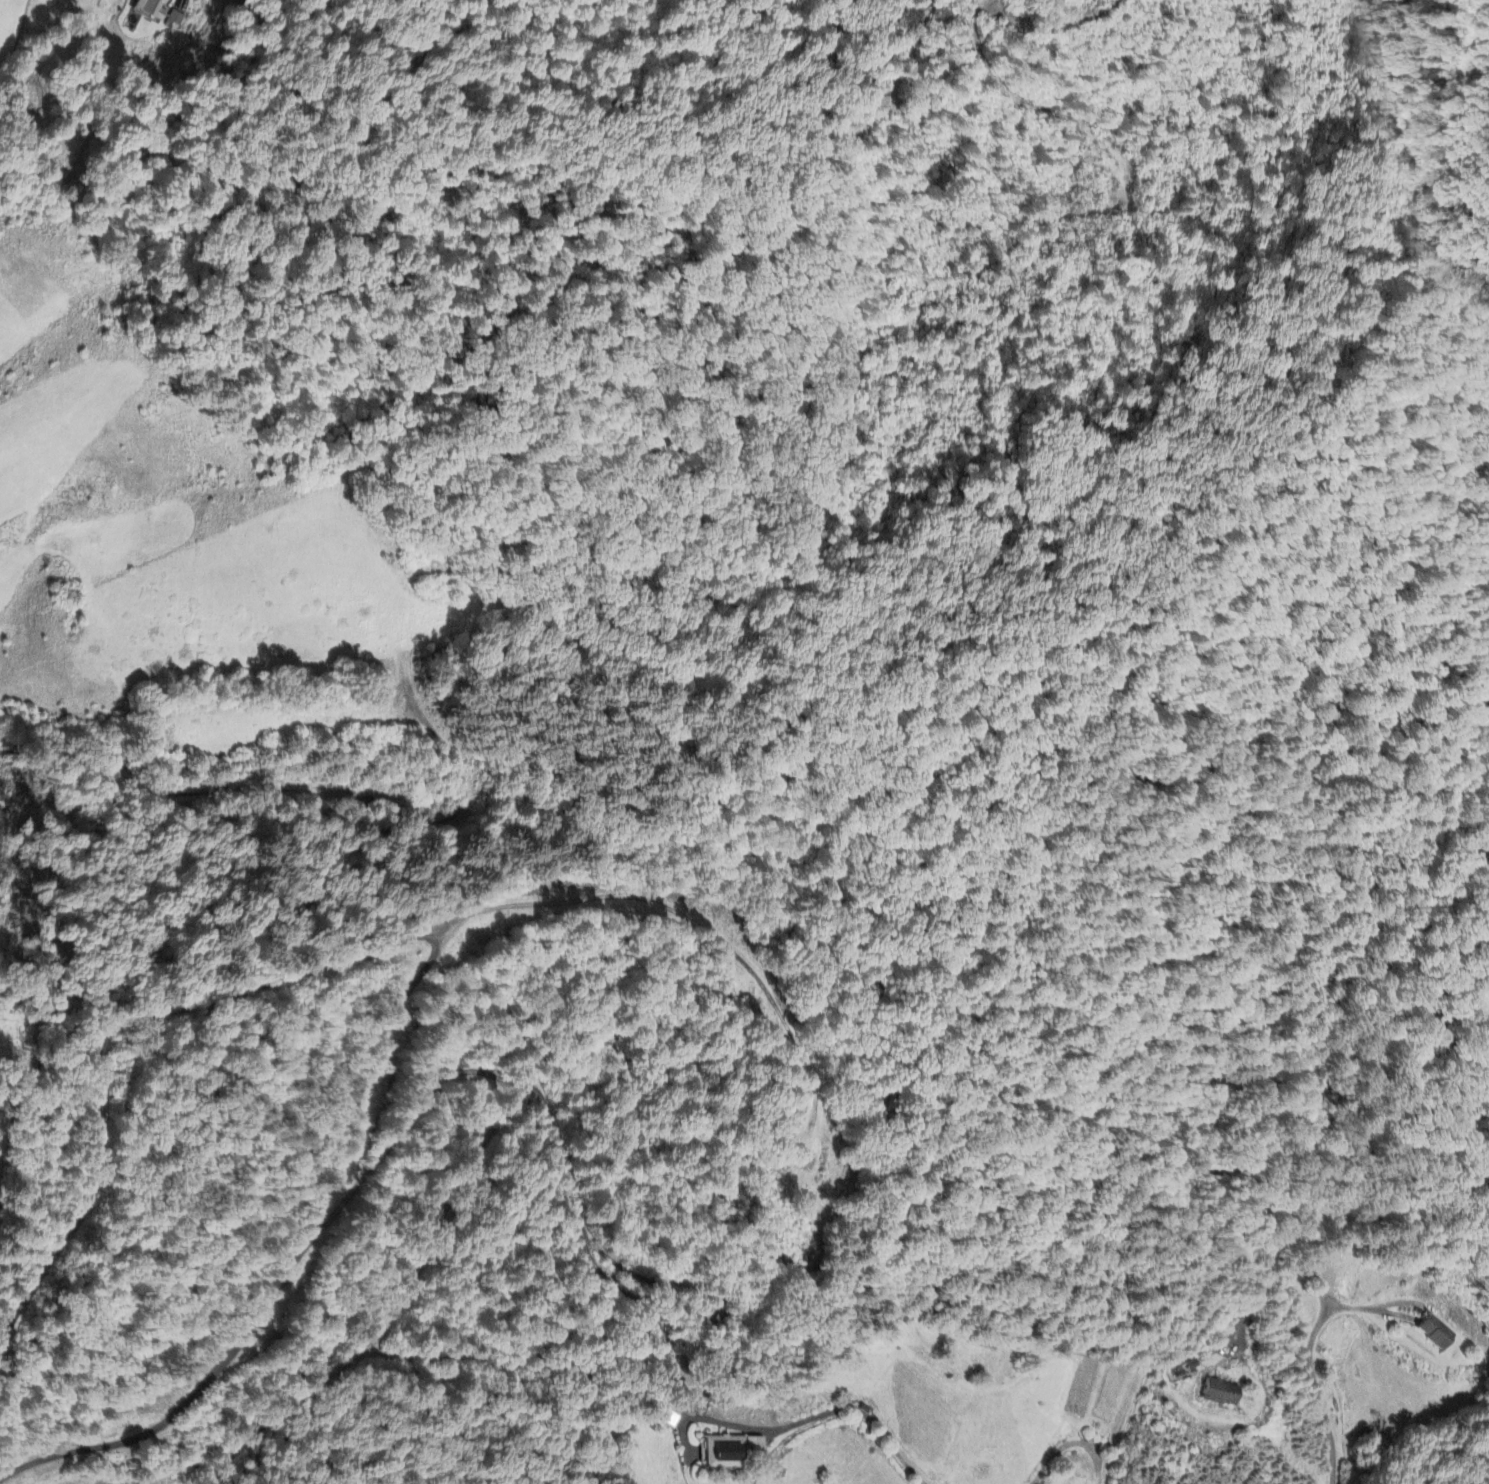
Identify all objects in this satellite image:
building: (150, 9)
building: (176, 18)
road: (386, 1025)
road: (109, 1032)
road: (469, 1183)
road: (586, 1255)
road: (642, 1280)
road: (1359, 1309)
road: (1320, 1313)
building: (1437, 1333)
building: (1220, 1394)
road: (864, 1417)
road: (1071, 1443)
building: (729, 1451)

